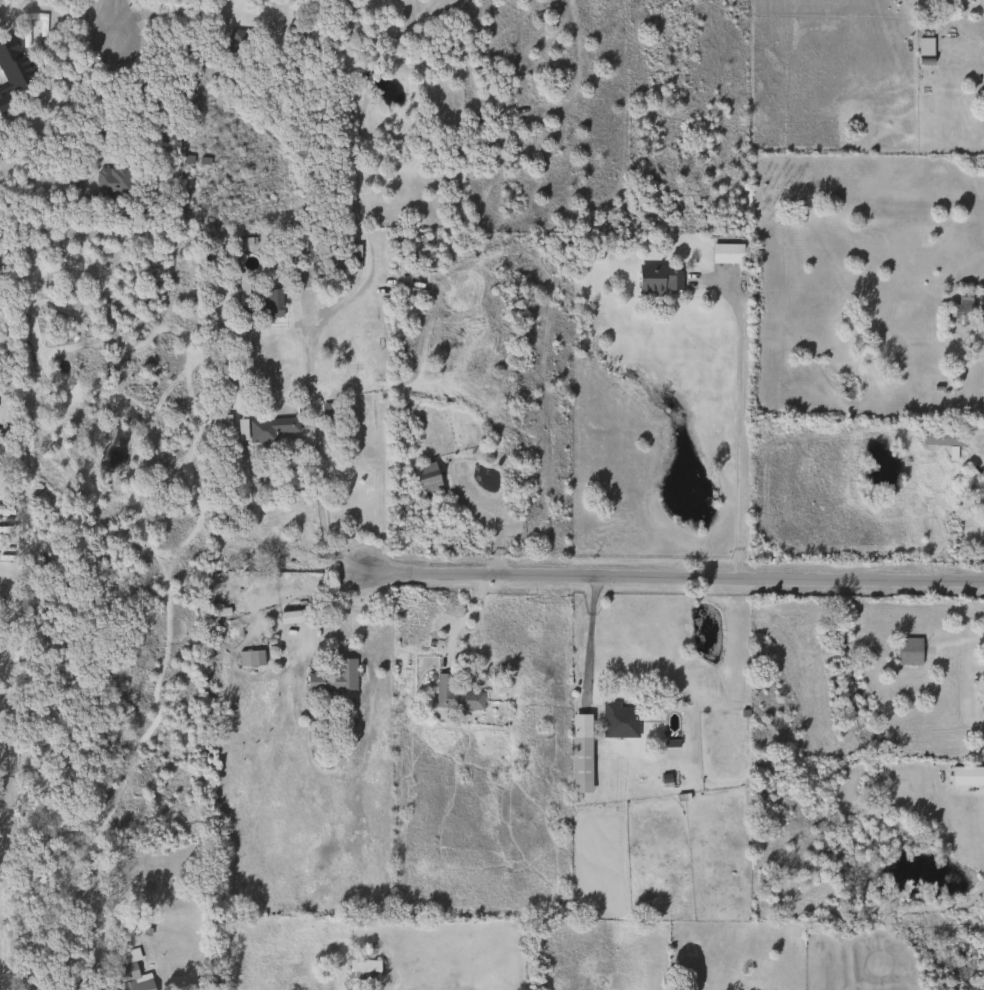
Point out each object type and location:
road: (118, 19)
road: (384, 33)
road: (41, 36)
building: (238, 41)
building: (923, 47)
building: (11, 72)
road: (370, 75)
building: (221, 78)
building: (110, 182)
building: (725, 253)
building: (351, 256)
road: (367, 257)
building: (657, 279)
building: (263, 304)
road: (737, 411)
building: (219, 421)
building: (267, 429)
road: (316, 500)
road: (671, 581)
road: (314, 606)
building: (289, 616)
road: (460, 618)
road: (586, 644)
building: (906, 651)
building: (248, 658)
building: (333, 678)
building: (453, 695)
building: (617, 720)
building: (964, 776)
building: (133, 850)
building: (687, 948)
building: (361, 969)
building: (130, 972)

